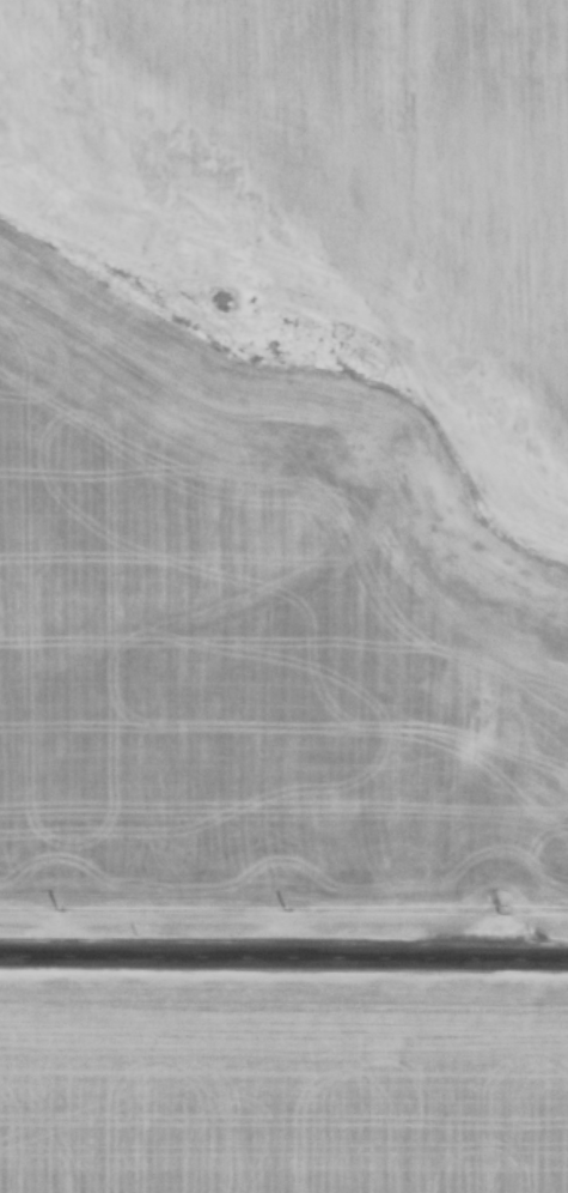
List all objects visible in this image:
road: (283, 946)

